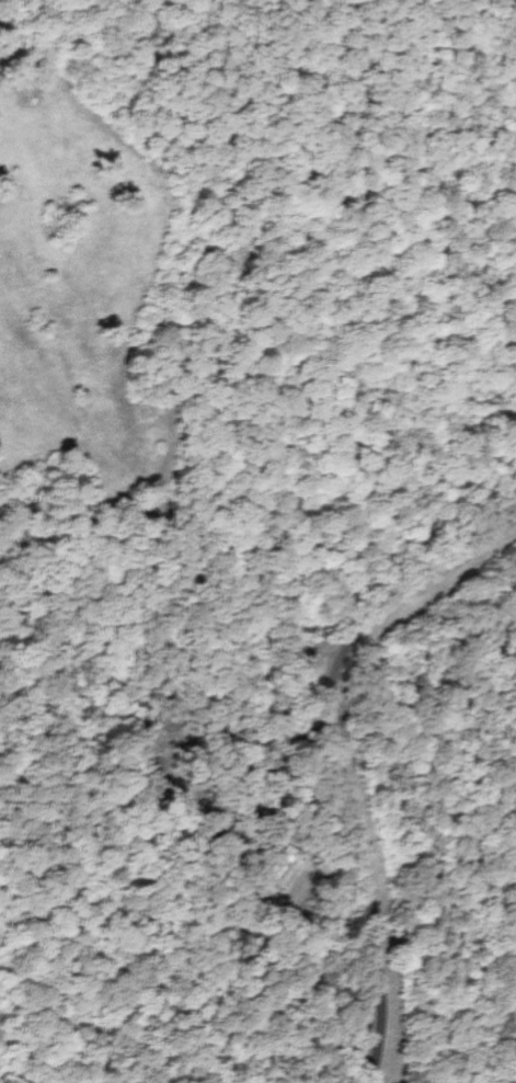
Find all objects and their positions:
road: (330, 760)

